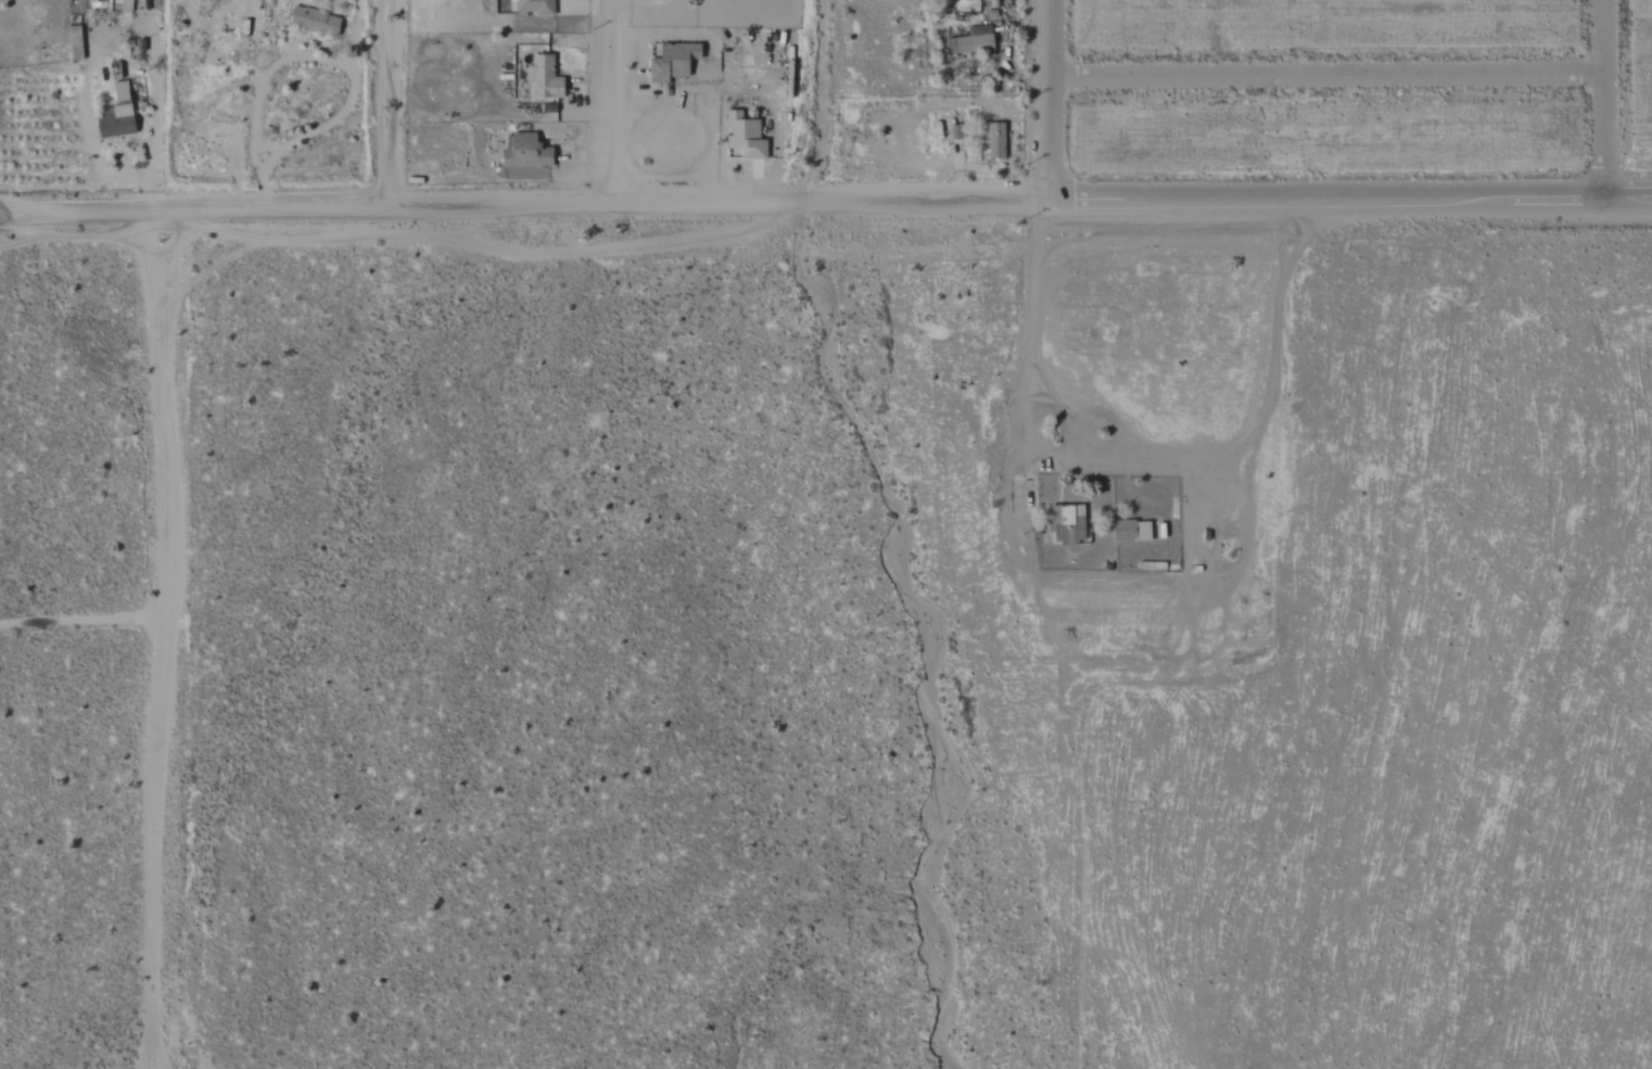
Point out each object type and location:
building: (124, 7)
building: (534, 7)
building: (313, 22)
road: (117, 31)
building: (971, 42)
building: (670, 62)
road: (1332, 74)
road: (1053, 99)
road: (1610, 99)
building: (119, 100)
road: (603, 100)
road: (817, 101)
road: (391, 102)
building: (112, 127)
building: (742, 138)
road: (1349, 199)
road: (523, 201)
road: (1033, 294)
road: (1077, 417)
road: (80, 621)
road: (163, 638)
road: (1063, 761)

